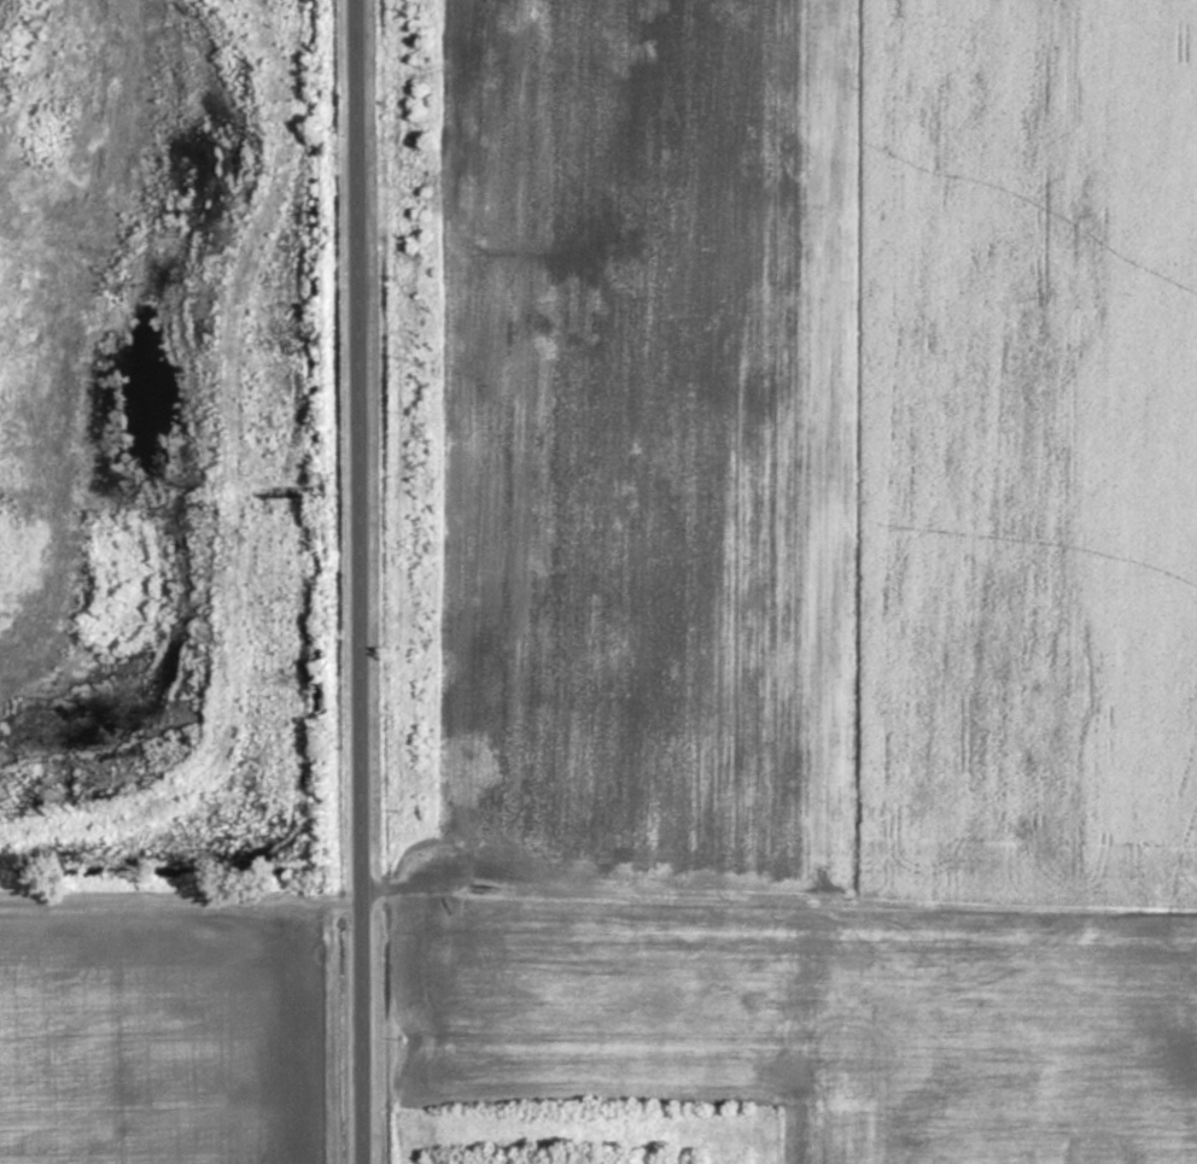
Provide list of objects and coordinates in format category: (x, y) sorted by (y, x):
road: (360, 581)

